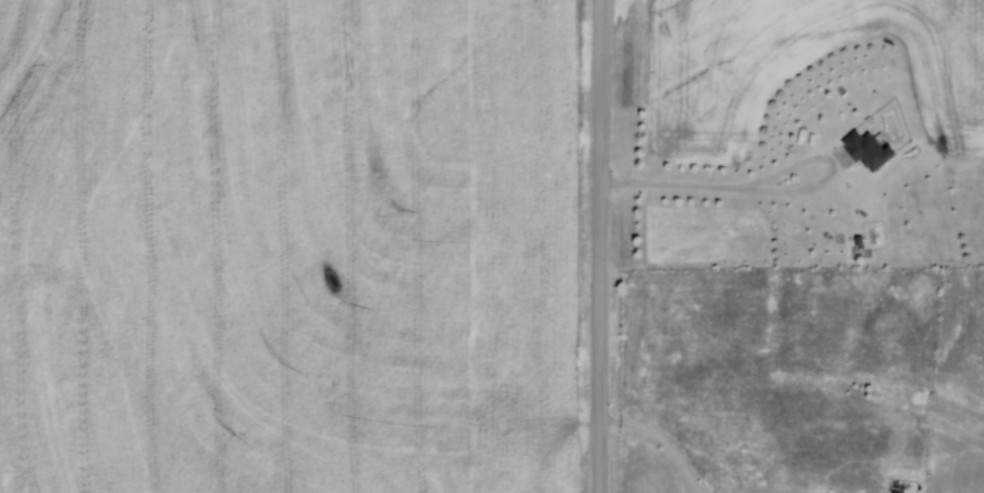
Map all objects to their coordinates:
building: (864, 150)
road: (600, 246)
road: (661, 440)

